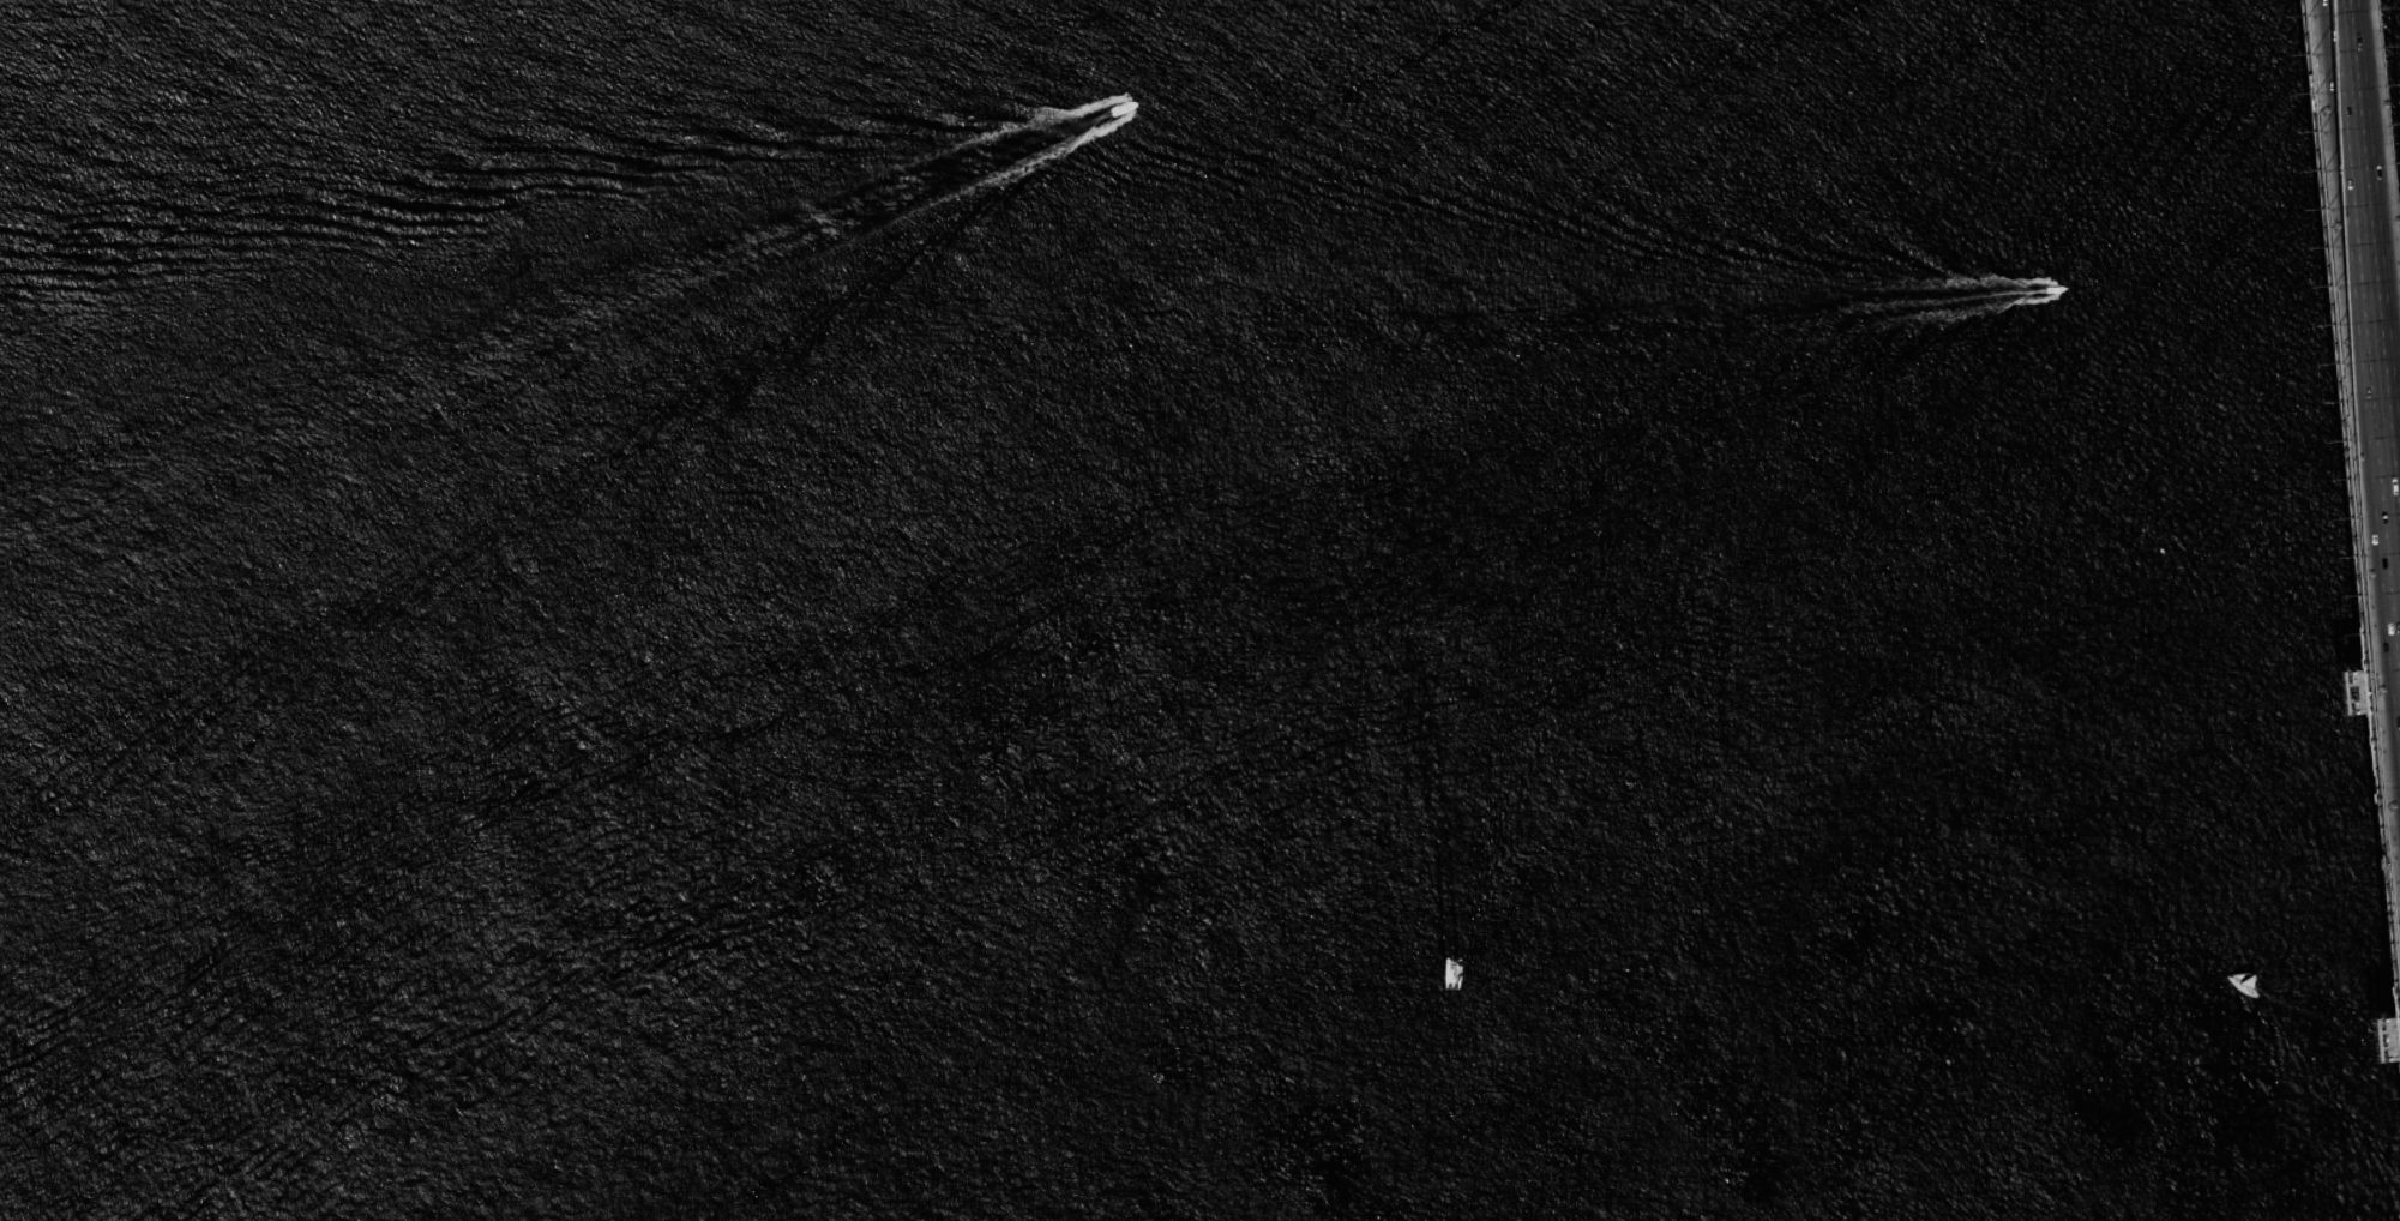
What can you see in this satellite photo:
road: (2360, 416)
road: (2351, 522)
road: (2318, 610)
road: (2336, 610)

